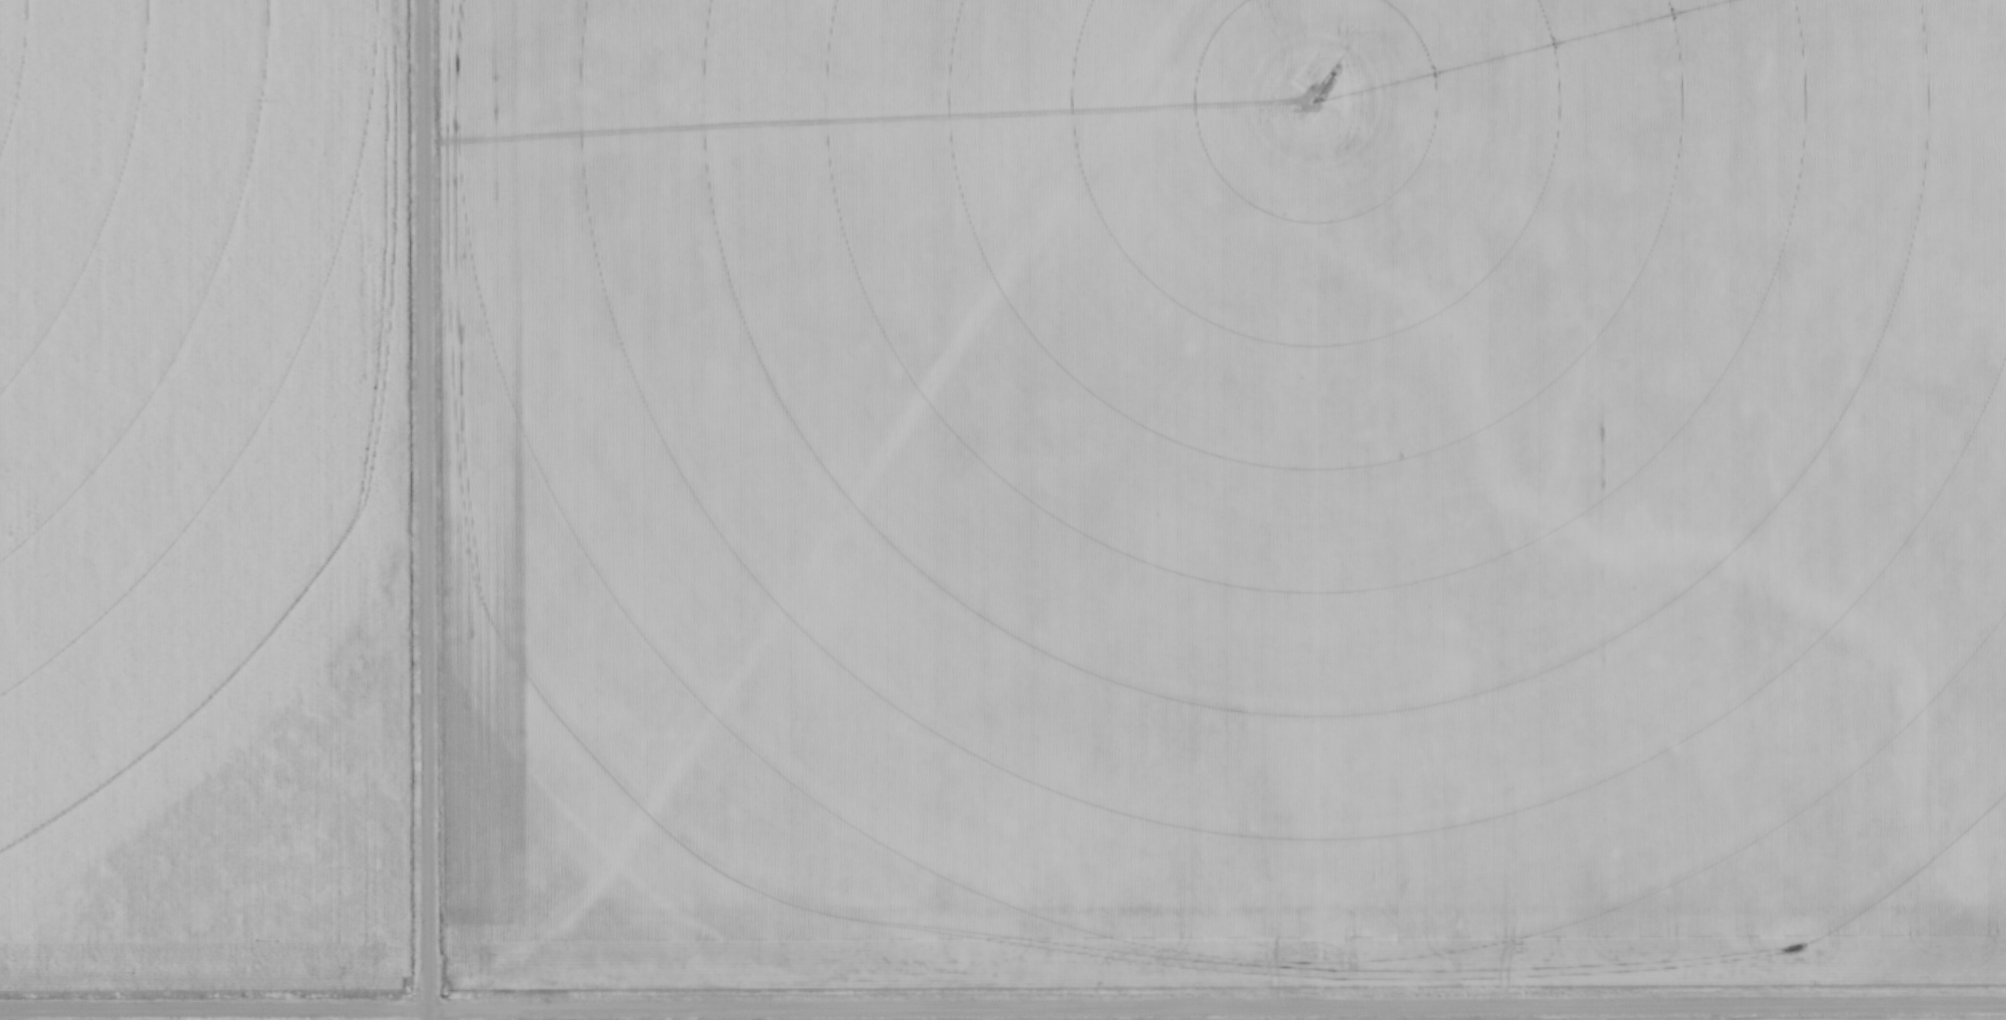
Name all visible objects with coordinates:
road: (424, 510)
road: (1003, 1009)

